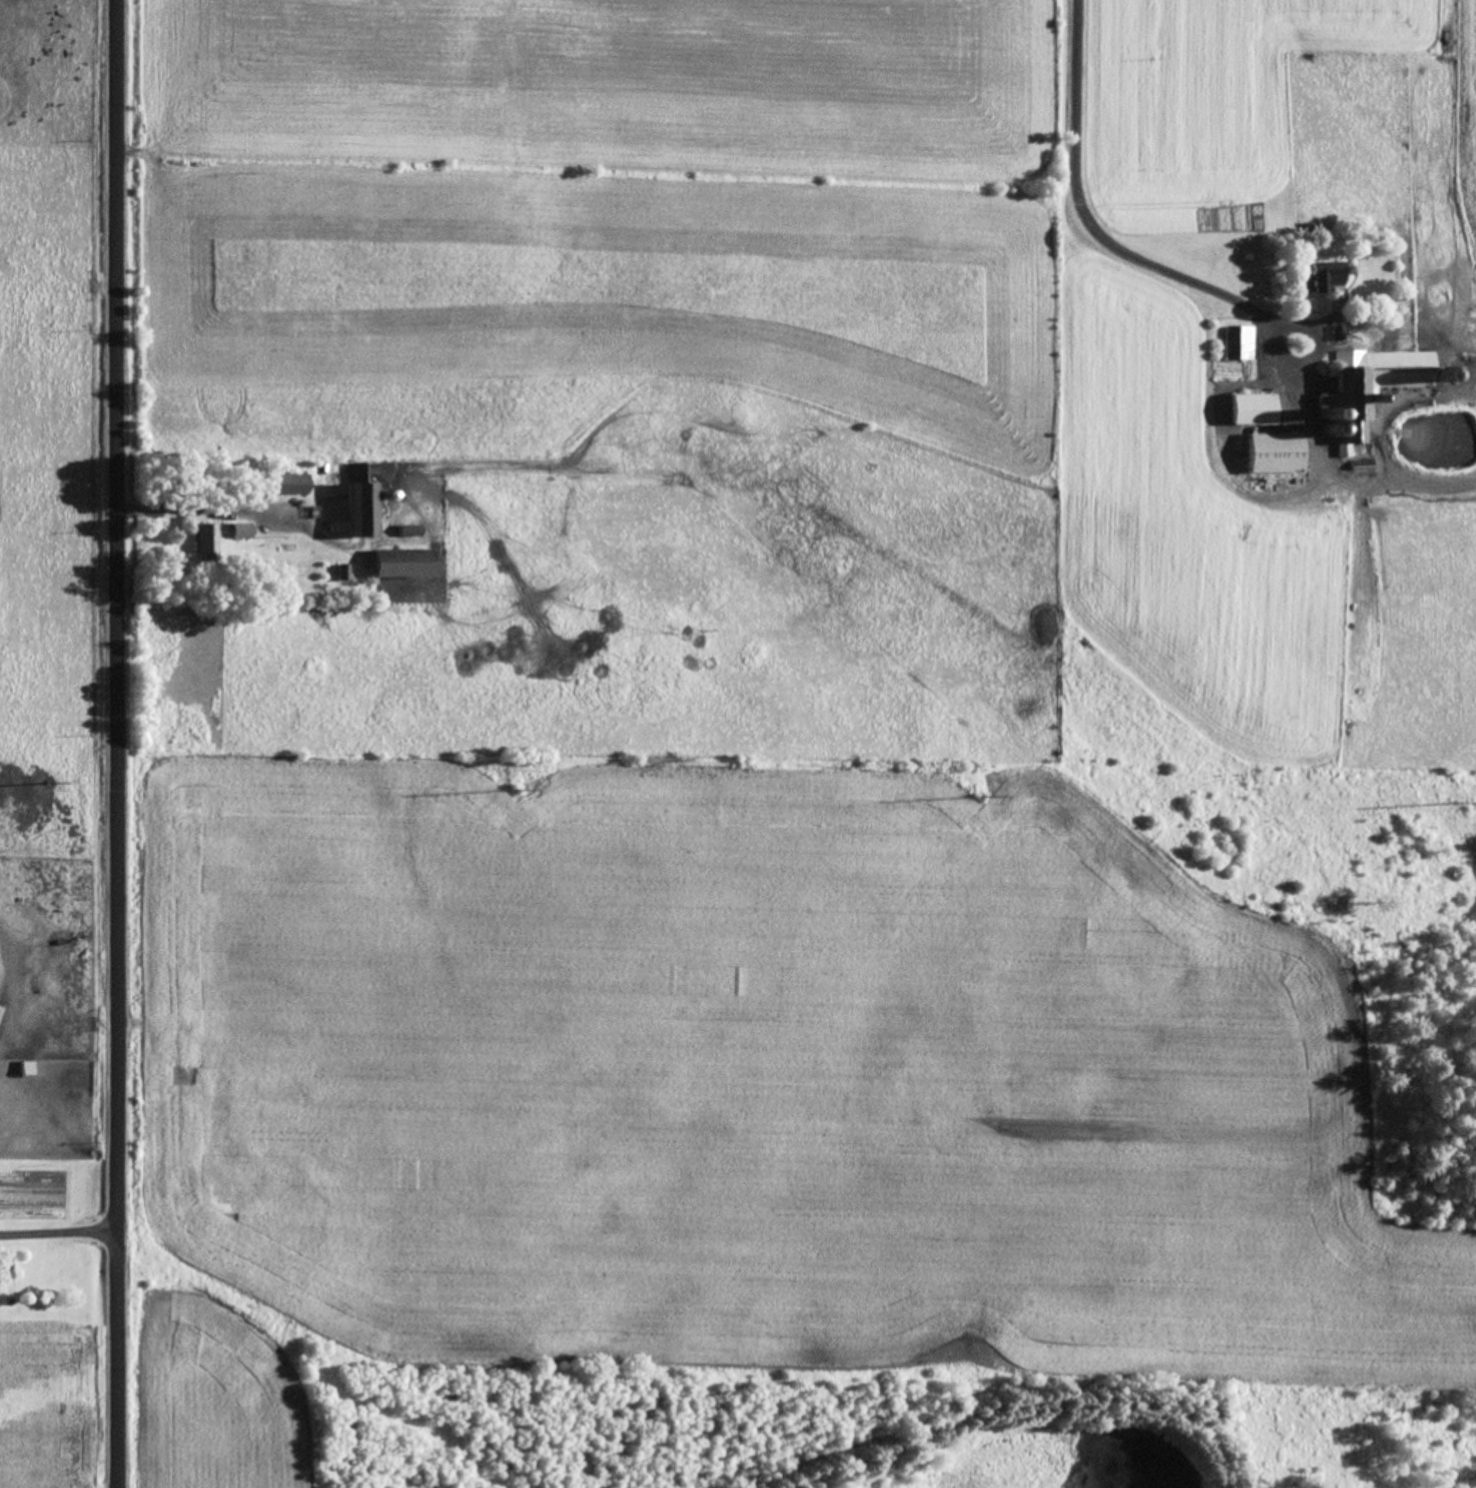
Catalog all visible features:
road: (1124, 248)
building: (1323, 276)
building: (1238, 343)
building: (1373, 386)
building: (1249, 409)
building: (1273, 453)
building: (283, 484)
building: (356, 501)
road: (202, 508)
building: (239, 531)
building: (206, 541)
building: (400, 563)
road: (118, 744)
building: (18, 1069)
road: (59, 1231)

